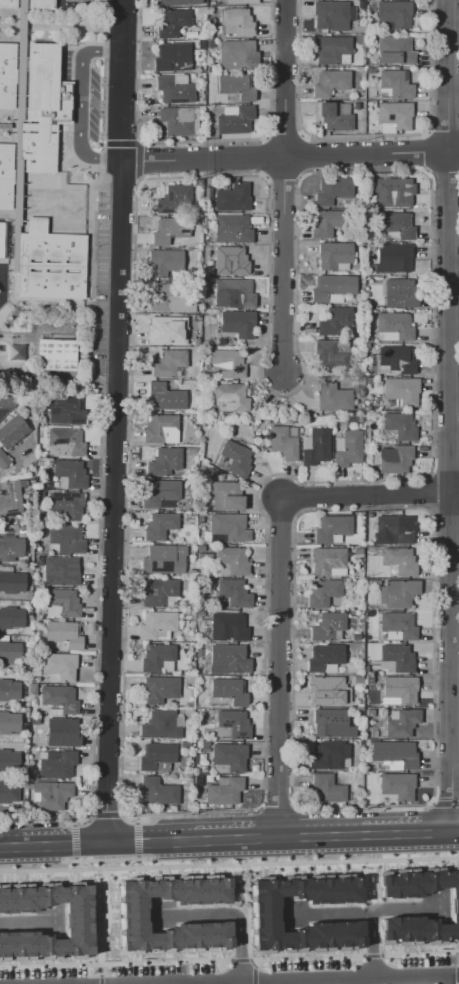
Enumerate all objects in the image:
building: (180, 2)
building: (249, 2)
building: (7, 3)
building: (39, 4)
building: (395, 14)
building: (330, 16)
road: (104, 21)
building: (235, 22)
building: (172, 23)
road: (51, 26)
building: (330, 49)
road: (73, 50)
road: (103, 50)
building: (236, 52)
building: (395, 52)
building: (172, 58)
building: (7, 75)
road: (283, 77)
road: (122, 80)
building: (329, 82)
building: (396, 83)
building: (236, 86)
building: (173, 90)
road: (79, 103)
road: (102, 105)
building: (42, 107)
building: (333, 117)
building: (393, 117)
building: (179, 121)
building: (235, 121)
road: (9, 125)
road: (17, 136)
road: (120, 143)
road: (290, 155)
road: (69, 156)
road: (100, 160)
road: (137, 161)
building: (6, 175)
road: (52, 180)
building: (332, 190)
building: (392, 193)
building: (173, 198)
building: (232, 198)
road: (8, 214)
building: (325, 223)
building: (396, 225)
building: (232, 229)
building: (168, 230)
building: (1, 237)
building: (333, 255)
building: (392, 259)
road: (7, 260)
building: (230, 261)
building: (163, 262)
building: (49, 263)
road: (282, 264)
building: (331, 288)
road: (14, 289)
building: (235, 291)
building: (399, 294)
building: (171, 297)
building: (334, 320)
building: (237, 323)
building: (395, 325)
building: (165, 331)
park: (15, 337)
building: (331, 352)
building: (54, 355)
building: (396, 360)
building: (169, 362)
building: (224, 364)
road: (45, 375)
building: (401, 390)
building: (166, 397)
building: (229, 397)
building: (333, 398)
building: (8, 402)
building: (65, 410)
road: (449, 416)
building: (399, 426)
building: (161, 430)
building: (10, 435)
building: (66, 442)
building: (282, 443)
building: (316, 447)
building: (348, 450)
building: (234, 458)
building: (394, 459)
building: (163, 461)
building: (70, 473)
road: (99, 485)
building: (160, 494)
road: (454, 495)
building: (225, 496)
road: (365, 498)
building: (10, 500)
road: (112, 502)
building: (66, 505)
building: (160, 525)
building: (229, 527)
building: (331, 528)
building: (395, 529)
building: (66, 539)
building: (11, 550)
building: (163, 559)
building: (326, 560)
building: (399, 560)
building: (231, 561)
building: (59, 570)
building: (12, 581)
building: (159, 593)
building: (322, 593)
building: (398, 593)
building: (232, 594)
building: (64, 602)
building: (11, 618)
building: (229, 625)
building: (398, 625)
building: (156, 626)
building: (326, 626)
building: (64, 634)
building: (10, 653)
building: (157, 657)
building: (324, 657)
building: (228, 659)
building: (396, 659)
building: (59, 666)
road: (278, 669)
building: (159, 689)
building: (400, 689)
building: (9, 690)
building: (229, 691)
building: (327, 691)
building: (59, 699)
building: (234, 723)
building: (402, 723)
building: (9, 724)
building: (331, 724)
building: (160, 725)
building: (62, 732)
building: (395, 753)
building: (230, 756)
building: (329, 756)
building: (157, 757)
building: (9, 760)
building: (57, 765)
building: (397, 785)
building: (327, 788)
building: (8, 792)
building: (158, 792)
building: (224, 792)
building: (52, 794)
road: (105, 814)
road: (127, 814)
road: (82, 815)
road: (134, 819)
road: (72, 820)
road: (454, 833)
road: (404, 835)
road: (317, 837)
road: (136, 839)
road: (234, 840)
road: (72, 841)
road: (178, 842)
road: (134, 843)
road: (74, 845)
road: (10, 846)
road: (32, 846)
road: (104, 860)
road: (137, 862)
road: (74, 864)
road: (229, 865)
building: (454, 906)
road: (361, 908)
road: (226, 912)
building: (133, 913)
building: (266, 913)
road: (26, 918)
building: (76, 921)
road: (105, 922)
road: (371, 943)
road: (419, 953)
road: (371, 956)
road: (258, 959)
road: (458, 959)
road: (242, 960)
road: (115, 963)
road: (458, 974)
road: (99, 979)
road: (306, 980)
road: (443, 980)
road: (358, 981)
road: (268, 982)
road: (208, 983)
road: (457, 983)

